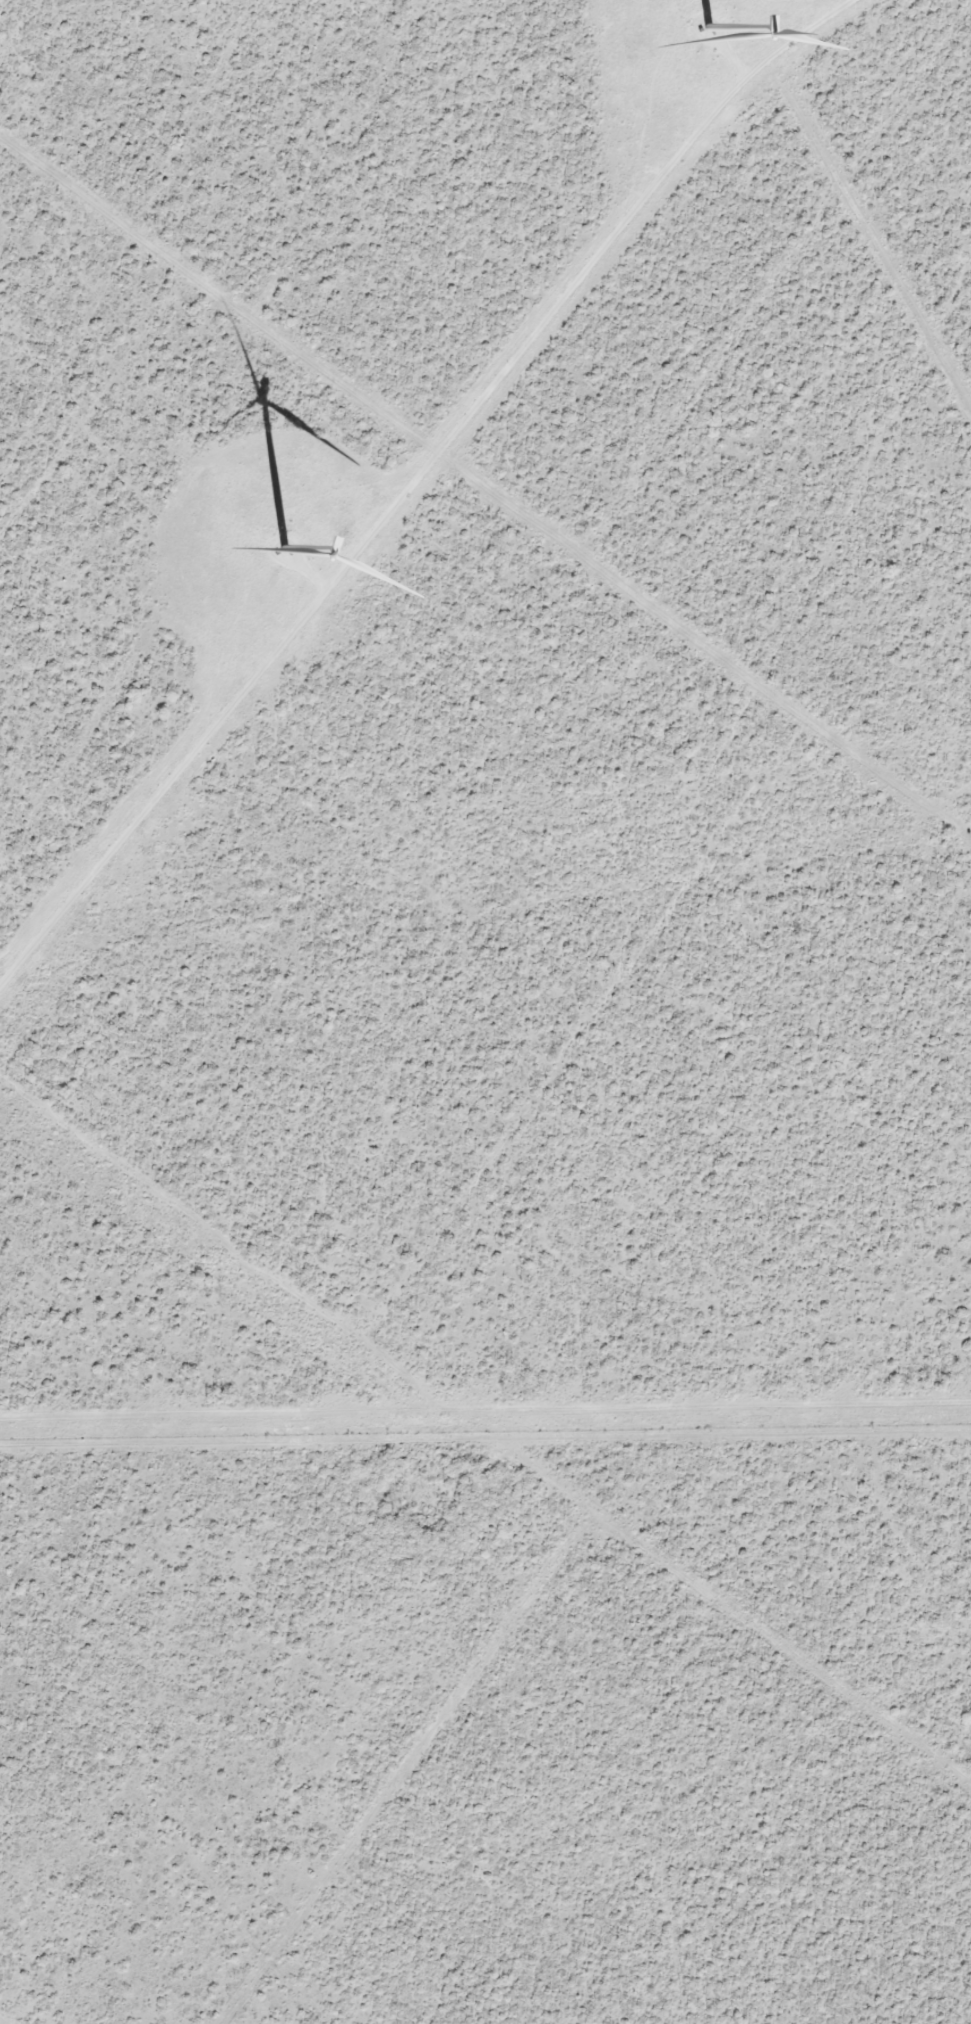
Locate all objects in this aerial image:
wind turbine: (702, 41)
wind turbine: (284, 541)

